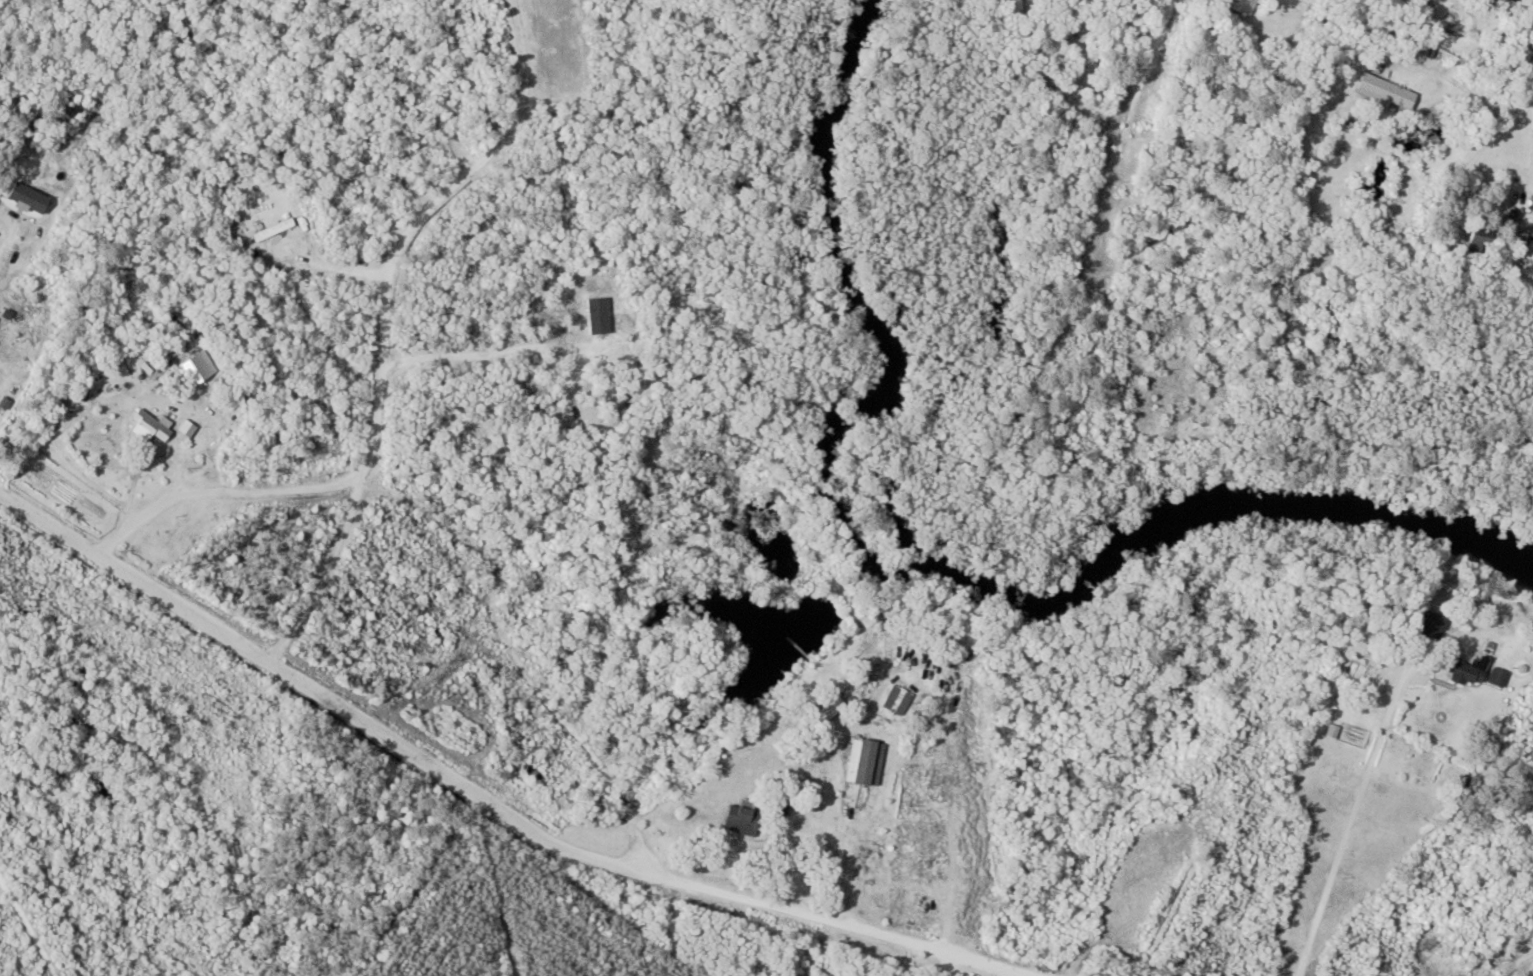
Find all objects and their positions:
building: (1506, 2)
building: (1238, 6)
building: (1011, 8)
road: (1058, 33)
building: (1384, 92)
road: (1518, 113)
road: (1118, 135)
building: (272, 230)
building: (1475, 238)
building: (8, 239)
road: (3, 272)
road: (385, 357)
building: (195, 369)
building: (186, 428)
building: (147, 429)
road: (326, 574)
building: (1429, 624)
building: (1463, 668)
building: (1495, 677)
building: (893, 700)
building: (864, 762)
road: (491, 803)
building: (740, 817)
road: (1347, 825)
road: (853, 863)
road: (1500, 943)

